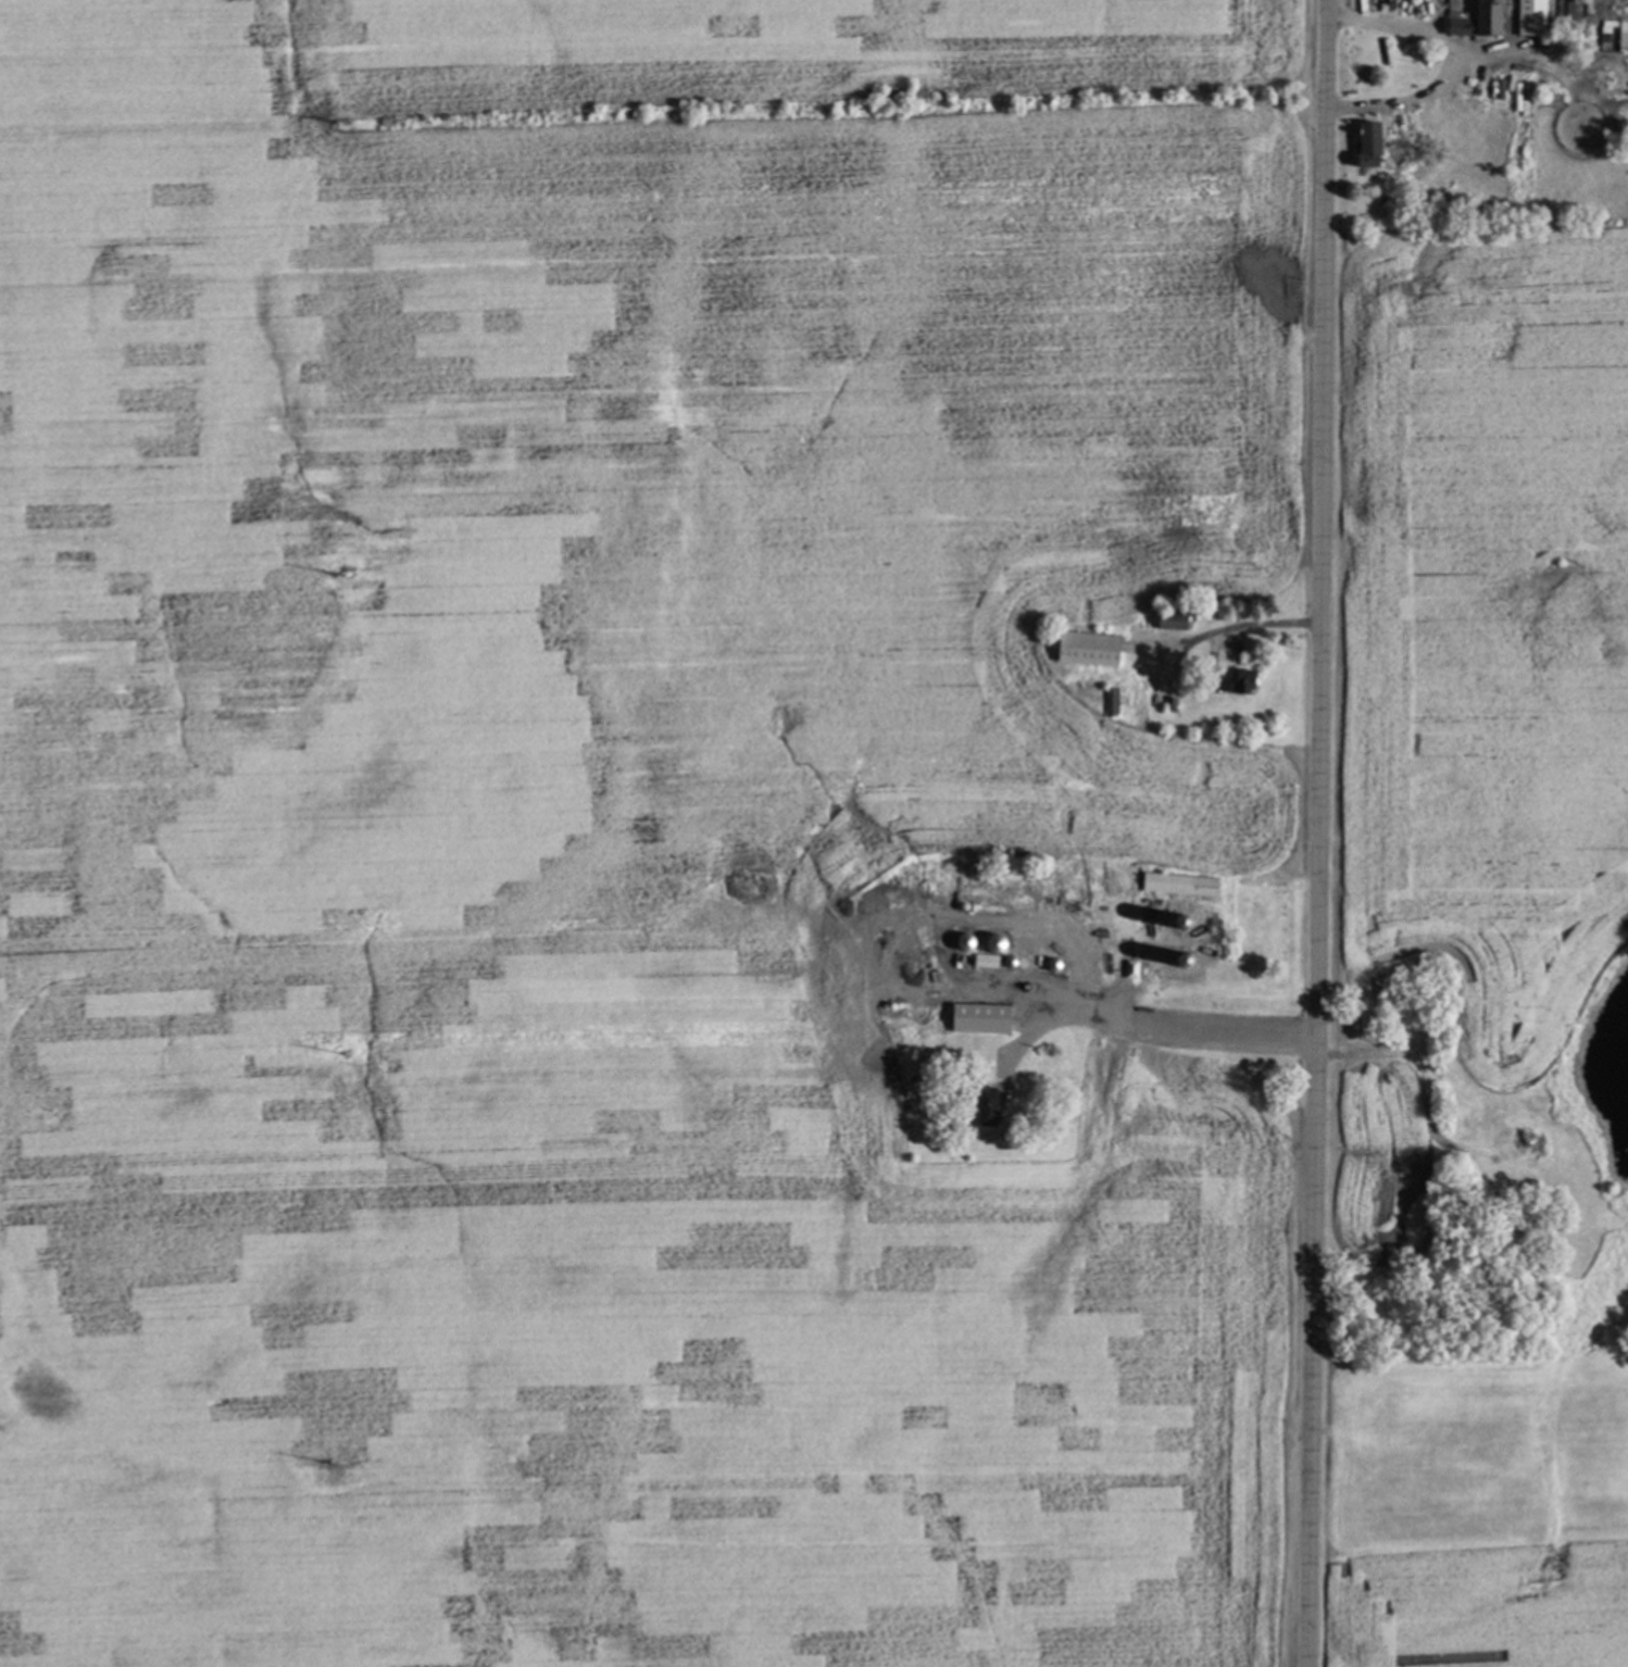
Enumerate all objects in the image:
building: (1527, 16)
building: (1473, 18)
building: (1620, 33)
road: (1449, 66)
building: (1362, 143)
road: (1190, 640)
building: (1080, 648)
building: (1238, 679)
building: (1110, 701)
crop: (794, 823)
road: (1317, 833)
building: (1177, 883)
building: (975, 1017)
road: (1177, 1026)
building: (976, 1106)

